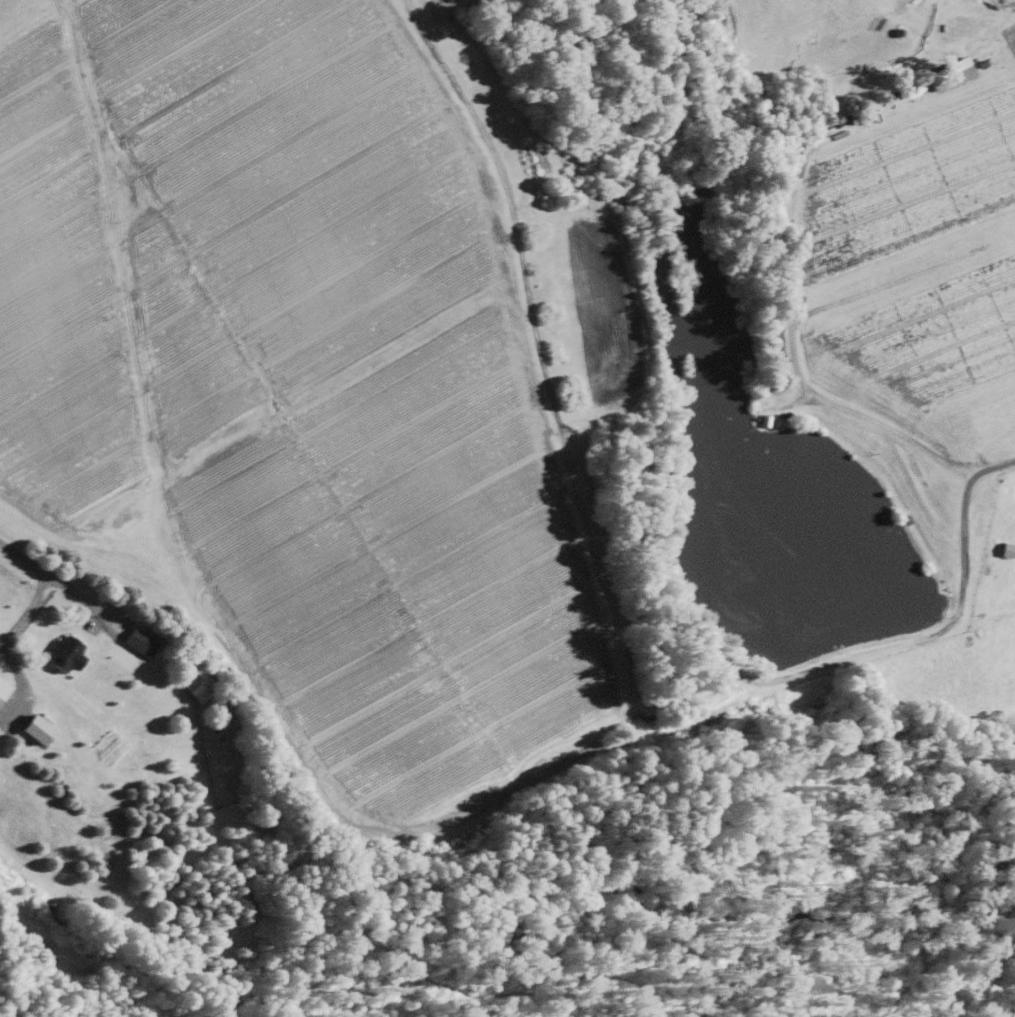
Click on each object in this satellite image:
road: (49, 577)
building: (135, 640)
road: (3, 643)
building: (62, 652)
building: (2, 683)
building: (193, 689)
building: (32, 727)

